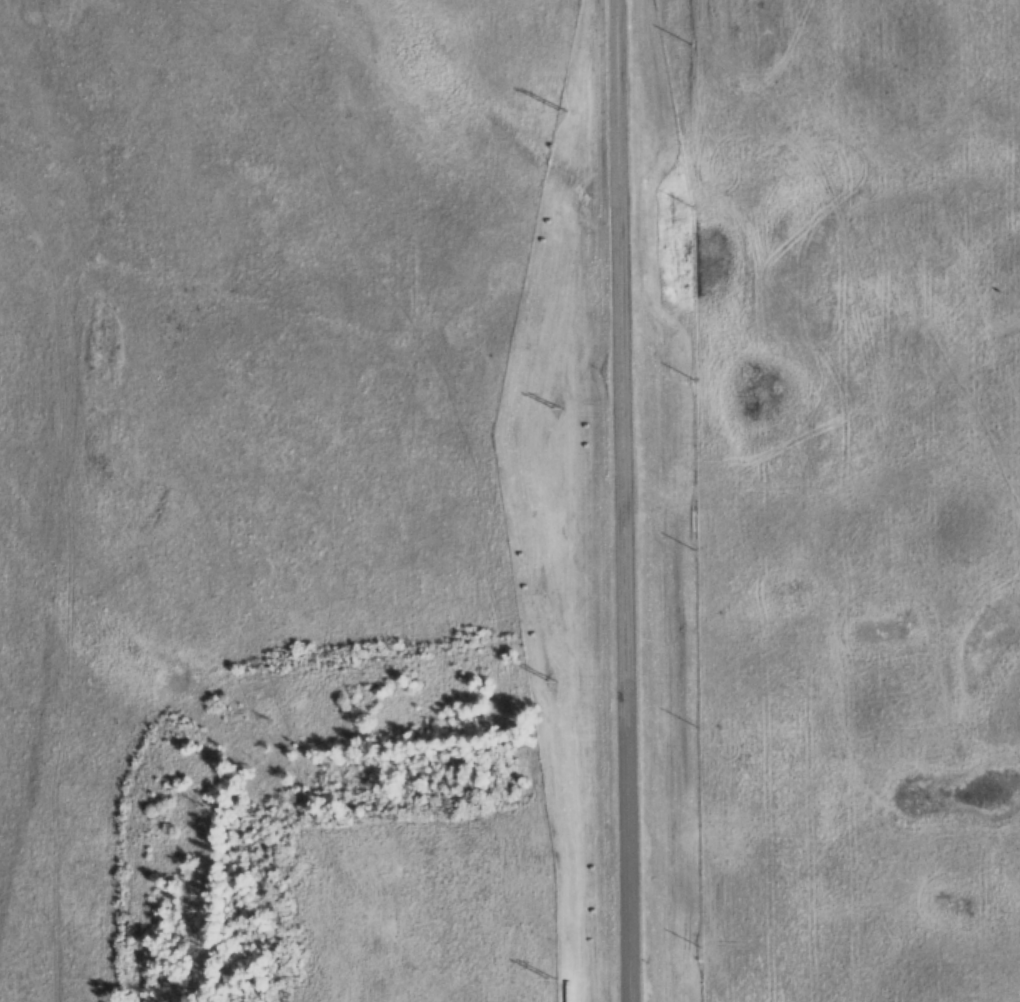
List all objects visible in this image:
power tower: (562, 110)
power tower: (556, 407)
road: (621, 500)
power tower: (550, 680)
power tower: (550, 979)

